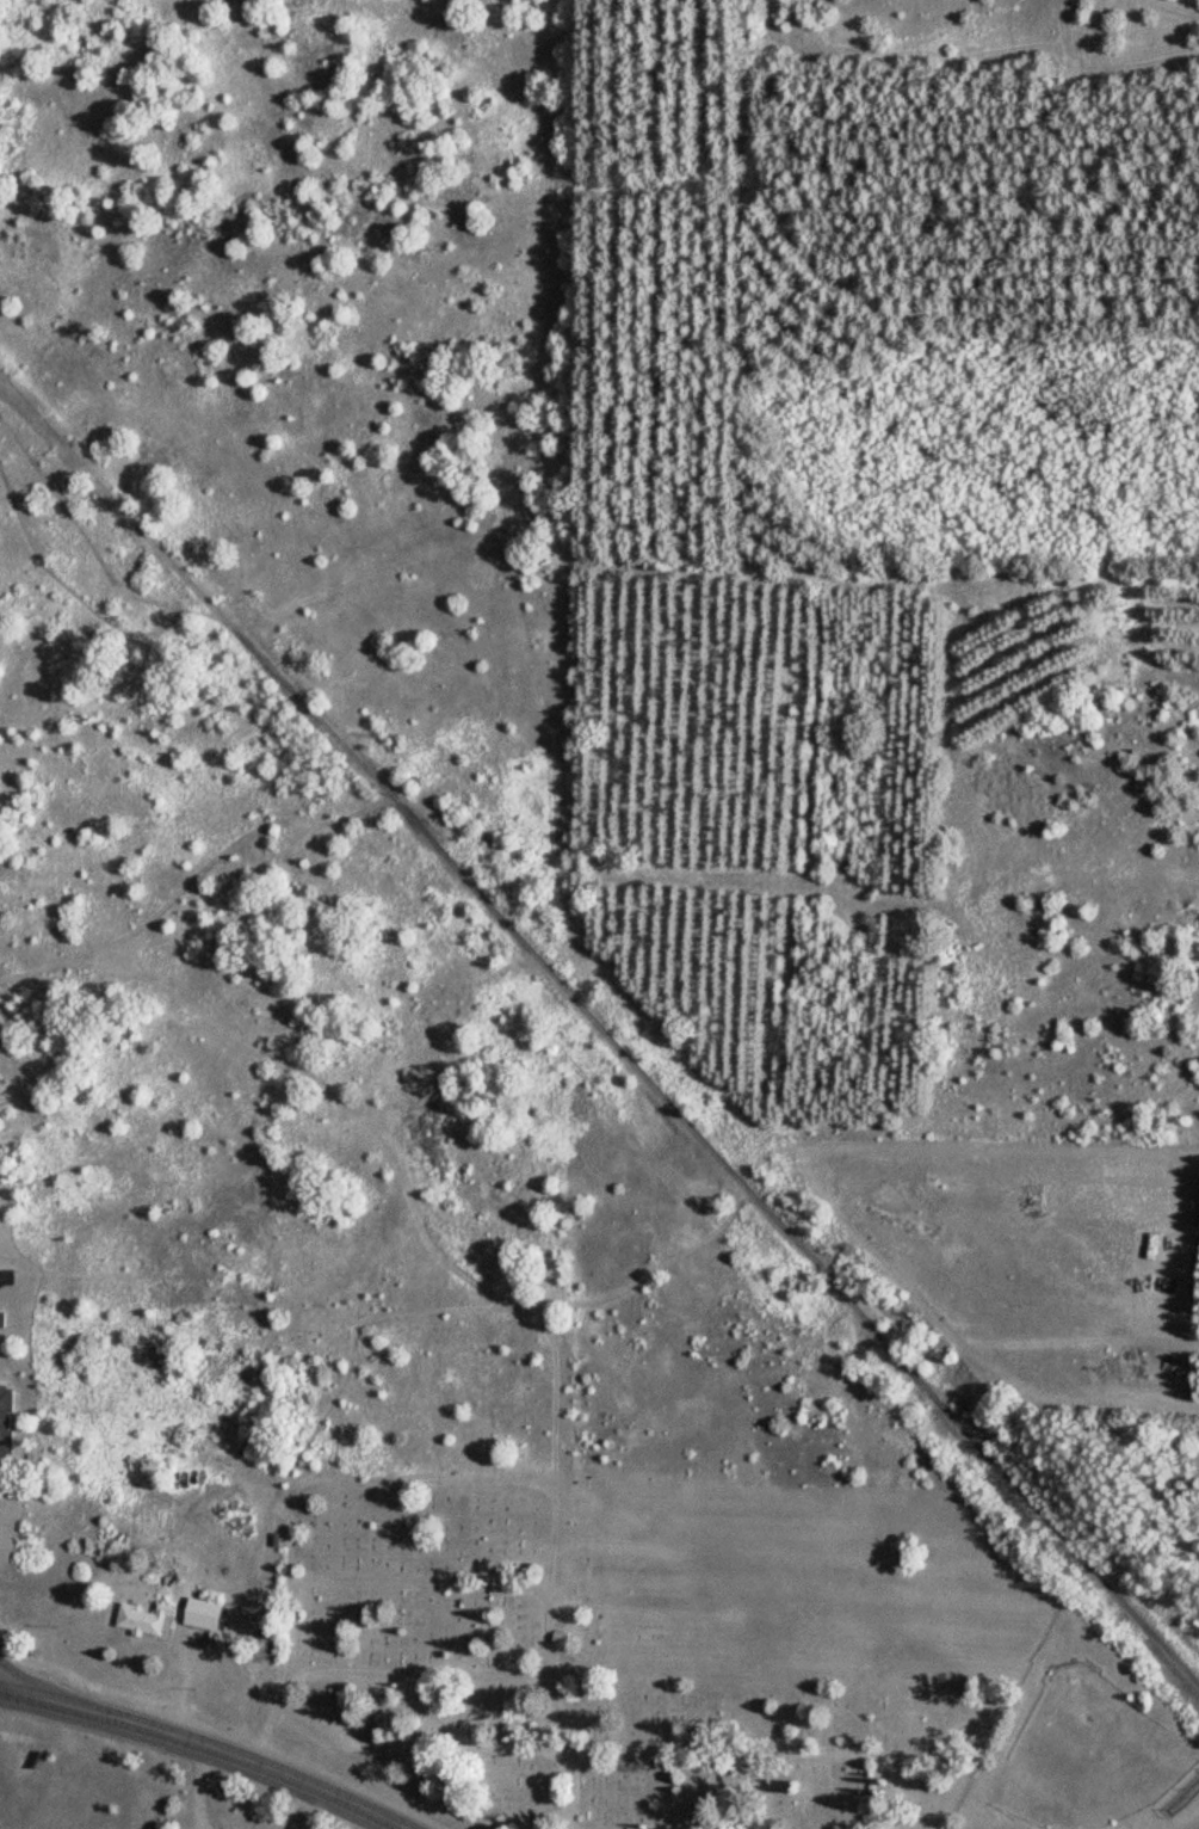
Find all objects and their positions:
road: (599, 1031)
building: (1195, 1203)
road: (4, 1276)
building: (1, 1318)
building: (6, 1420)
building: (205, 1614)
building: (149, 1619)
road: (452, 1673)
park: (561, 1676)
road: (110, 1723)
park: (1089, 1753)
road: (313, 1787)

